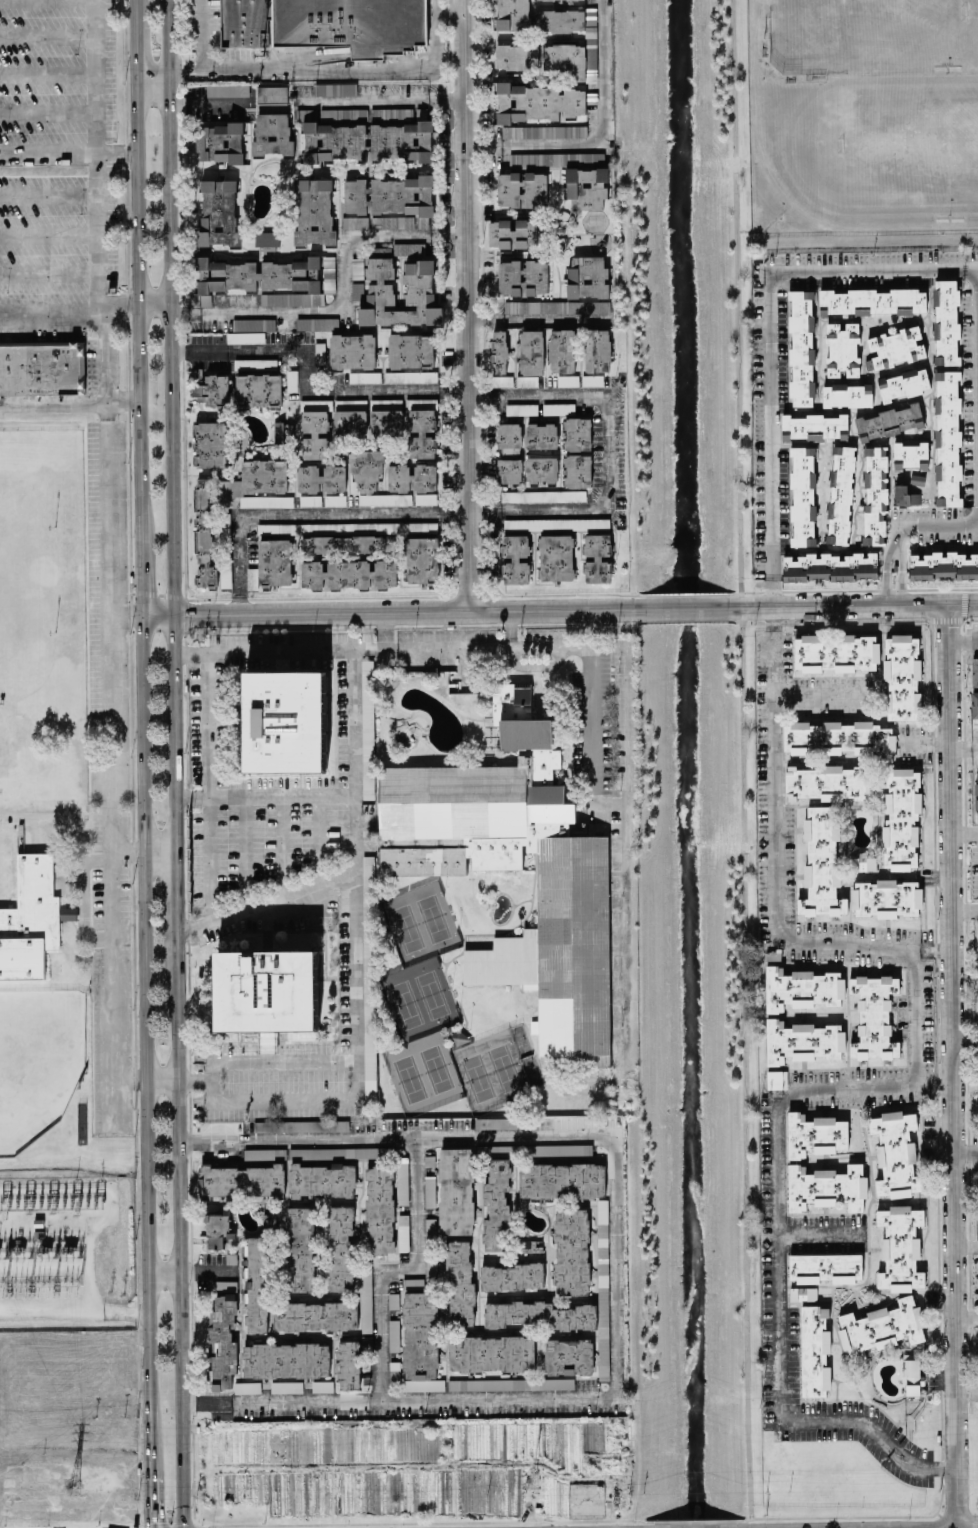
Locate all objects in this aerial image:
road: (447, 11)
building: (513, 14)
building: (327, 24)
road: (200, 33)
park: (856, 34)
park: (971, 34)
road: (48, 36)
building: (517, 56)
building: (569, 56)
road: (347, 67)
road: (184, 69)
road: (151, 71)
road: (48, 73)
building: (334, 88)
building: (227, 90)
building: (271, 94)
road: (313, 99)
building: (537, 102)
road: (48, 113)
building: (421, 113)
building: (554, 131)
building: (272, 134)
road: (599, 139)
building: (219, 141)
building: (368, 141)
park: (909, 143)
road: (47, 152)
road: (115, 152)
road: (95, 158)
building: (586, 187)
building: (522, 189)
road: (785, 194)
road: (47, 195)
building: (390, 195)
building: (219, 212)
building: (314, 212)
building: (355, 222)
building: (390, 222)
road: (766, 226)
building: (518, 233)
road: (47, 237)
building: (267, 241)
building: (357, 267)
road: (136, 270)
road: (47, 274)
building: (329, 274)
building: (522, 277)
building: (587, 277)
building: (264, 280)
building: (420, 293)
road: (341, 299)
building: (875, 301)
road: (115, 303)
road: (154, 303)
road: (466, 305)
building: (556, 306)
road: (171, 307)
road: (47, 316)
road: (539, 319)
building: (946, 322)
building: (317, 323)
building: (253, 324)
road: (771, 335)
building: (245, 337)
building: (802, 347)
building: (843, 347)
building: (895, 347)
building: (411, 350)
building: (561, 350)
building: (597, 350)
building: (352, 351)
building: (498, 351)
building: (530, 357)
building: (255, 363)
building: (41, 367)
building: (948, 367)
building: (410, 376)
building: (364, 377)
building: (292, 380)
building: (503, 380)
building: (567, 380)
building: (592, 380)
road: (303, 385)
building: (903, 385)
building: (213, 389)
building: (259, 389)
building: (847, 395)
road: (69, 401)
building: (558, 408)
building: (521, 409)
building: (386, 415)
building: (350, 416)
building: (890, 420)
building: (422, 425)
building: (814, 426)
building: (315, 428)
building: (541, 435)
building: (509, 437)
building: (947, 439)
building: (210, 444)
building: (577, 452)
building: (911, 455)
building: (366, 468)
building: (542, 469)
building: (508, 471)
building: (264, 475)
building: (412, 477)
building: (321, 478)
building: (917, 479)
building: (840, 494)
building: (544, 495)
building: (875, 495)
building: (803, 496)
building: (905, 496)
building: (425, 498)
building: (335, 499)
building: (385, 499)
building: (266, 500)
building: (310, 500)
road: (501, 511)
building: (556, 523)
road: (926, 525)
building: (284, 528)
building: (204, 532)
building: (344, 543)
building: (555, 557)
building: (515, 558)
building: (598, 558)
building: (421, 559)
building: (272, 564)
building: (943, 565)
building: (830, 566)
building: (349, 573)
building: (225, 575)
road: (886, 575)
road: (901, 576)
road: (139, 578)
park: (18, 579)
road: (964, 604)
road: (864, 605)
road: (756, 607)
road: (684, 608)
road: (403, 611)
road: (125, 616)
road: (156, 616)
road: (386, 629)
road: (964, 640)
road: (613, 645)
building: (836, 652)
building: (902, 677)
building: (975, 687)
road: (827, 696)
building: (510, 700)
building: (285, 721)
road: (110, 723)
road: (593, 723)
building: (367, 729)
road: (174, 732)
building: (839, 738)
road: (964, 746)
road: (740, 764)
building: (828, 782)
building: (976, 793)
road: (265, 794)
building: (901, 819)
road: (965, 832)
road: (321, 838)
road: (281, 845)
road: (126, 850)
road: (158, 850)
road: (244, 851)
road: (788, 853)
road: (210, 861)
building: (862, 862)
building: (821, 863)
building: (886, 898)
road: (176, 900)
building: (572, 900)
road: (965, 908)
building: (67, 909)
building: (30, 919)
road: (195, 923)
road: (358, 959)
building: (368, 976)
building: (801, 988)
building: (266, 993)
building: (874, 1016)
road: (923, 1018)
building: (459, 1036)
building: (802, 1041)
road: (144, 1044)
road: (966, 1045)
road: (275, 1060)
park: (37, 1063)
road: (955, 1066)
building: (776, 1079)
road: (193, 1080)
road: (130, 1081)
road: (161, 1081)
building: (582, 1121)
building: (495, 1122)
building: (301, 1125)
building: (815, 1134)
building: (534, 1149)
building: (336, 1152)
road: (967, 1152)
building: (265, 1153)
building: (896, 1153)
building: (322, 1179)
building: (241, 1180)
building: (402, 1180)
building: (562, 1180)
building: (826, 1187)
building: (456, 1190)
building: (430, 1191)
building: (496, 1205)
building: (380, 1209)
building: (38, 1222)
road: (76, 1227)
building: (216, 1230)
building: (403, 1232)
road: (820, 1232)
road: (178, 1239)
road: (967, 1244)
building: (529, 1245)
building: (340, 1247)
building: (299, 1248)
building: (900, 1248)
power substation: (65, 1251)
building: (571, 1251)
road: (616, 1265)
road: (777, 1267)
building: (825, 1267)
building: (431, 1268)
road: (90, 1269)
road: (398, 1270)
road: (208, 1271)
road: (162, 1272)
building: (512, 1276)
building: (460, 1280)
building: (257, 1284)
building: (225, 1285)
building: (602, 1289)
building: (803, 1293)
building: (366, 1300)
road: (73, 1309)
building: (540, 1314)
building: (314, 1315)
road: (967, 1316)
building: (881, 1327)
building: (394, 1335)
building: (421, 1341)
building: (223, 1342)
building: (815, 1350)
building: (491, 1353)
building: (568, 1355)
building: (286, 1359)
building: (349, 1364)
building: (912, 1375)
building: (511, 1383)
building: (322, 1385)
building: (287, 1386)
building: (247, 1387)
road: (968, 1390)
power tower: (529, 1479)
power tower: (72, 1485)
road: (147, 1501)

